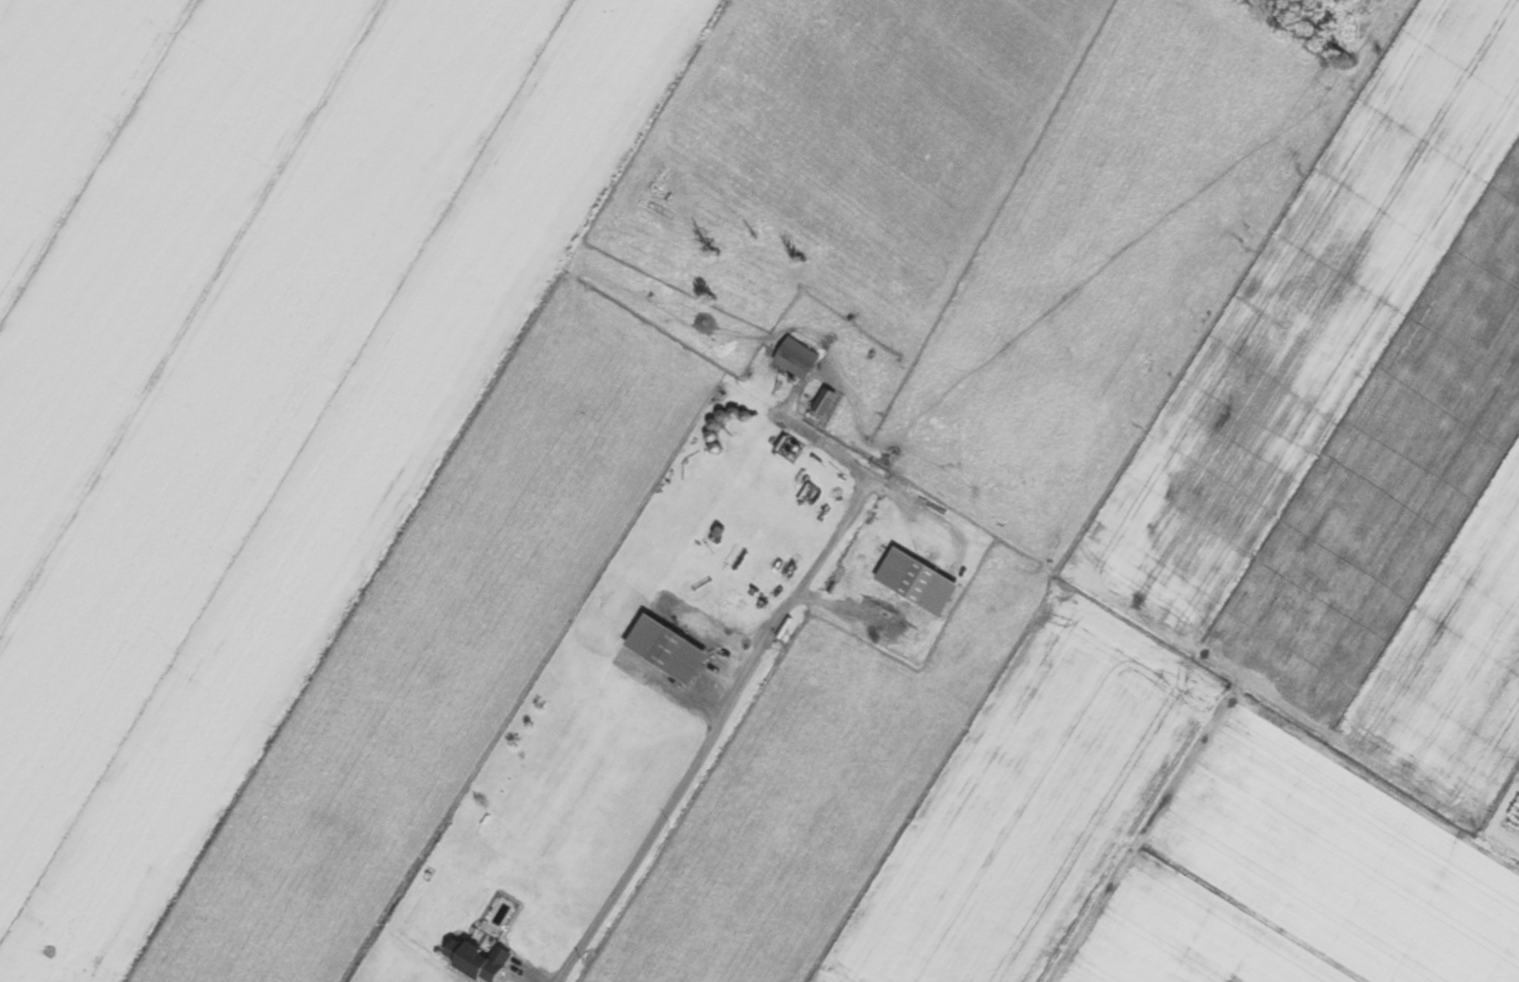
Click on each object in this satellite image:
building: (798, 358)
building: (669, 650)
road: (698, 760)
building: (480, 960)

